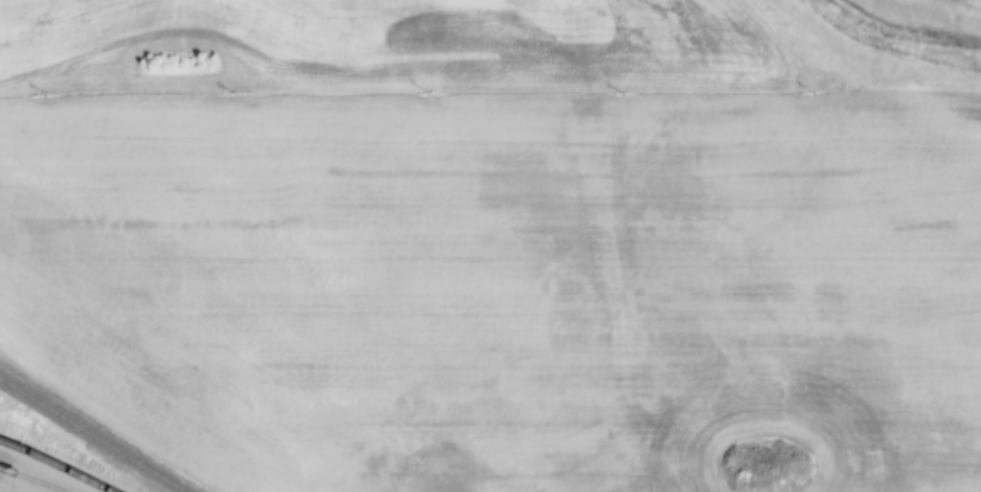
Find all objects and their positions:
railway: (88, 437)

